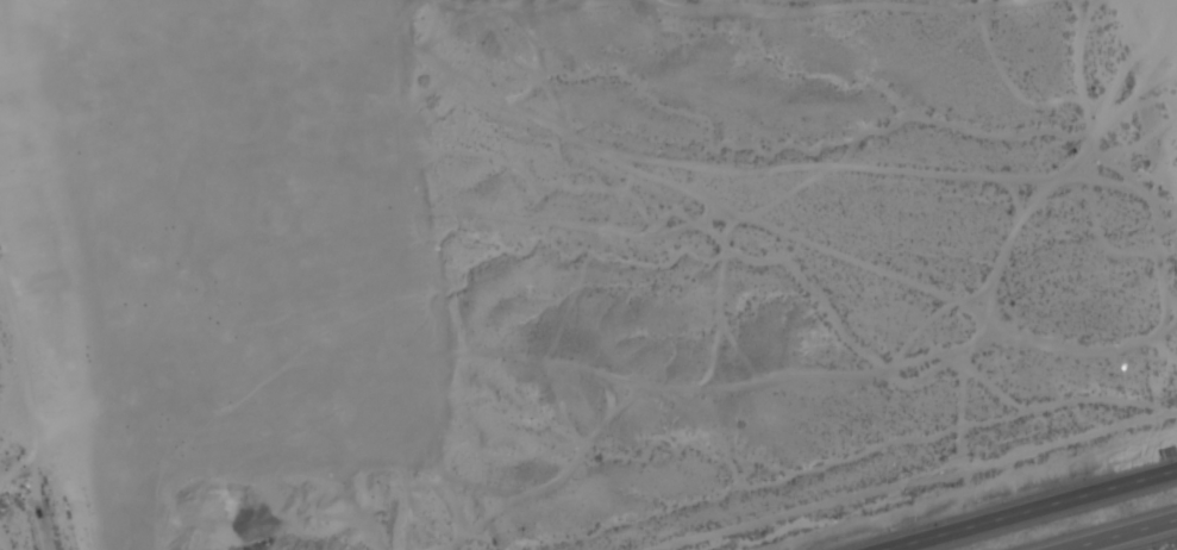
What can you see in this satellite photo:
road: (1033, 511)
road: (1123, 535)

